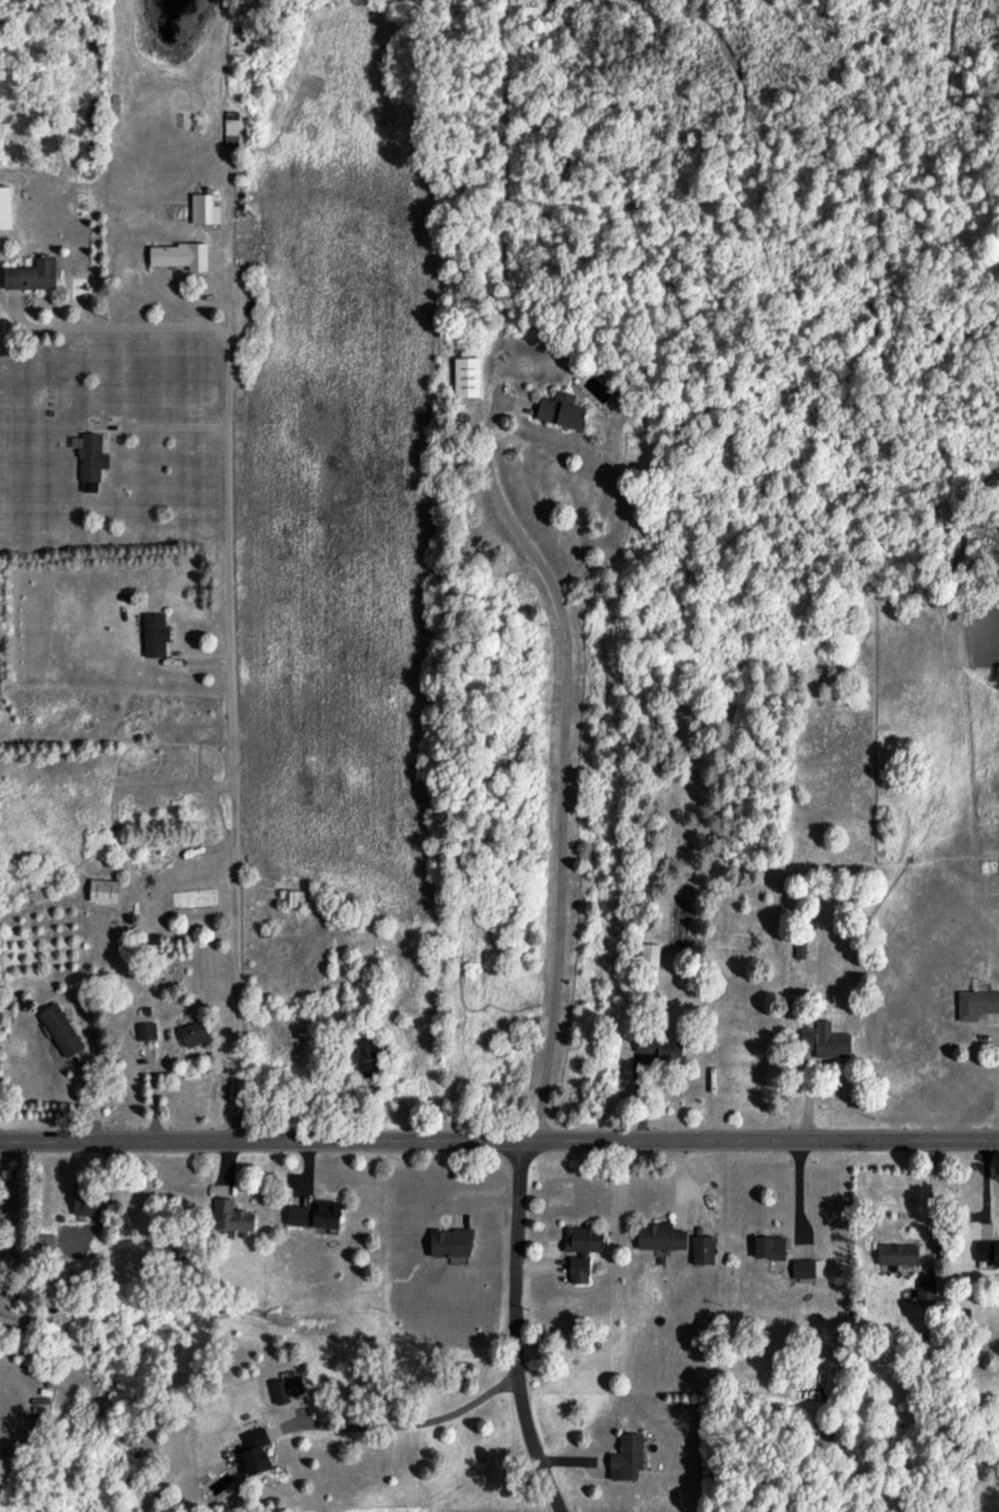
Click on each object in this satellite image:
building: (114, 120)
building: (231, 128)
building: (5, 208)
building: (204, 209)
building: (180, 256)
building: (32, 275)
road: (128, 324)
building: (467, 377)
building: (561, 410)
road: (175, 426)
building: (90, 460)
building: (155, 634)
road: (229, 710)
road: (563, 763)
building: (103, 890)
building: (295, 898)
road: (789, 916)
building: (800, 949)
building: (650, 954)
building: (977, 1003)
building: (61, 1030)
building: (147, 1031)
building: (194, 1033)
building: (825, 1040)
building: (660, 1048)
building: (370, 1056)
road: (998, 1117)
road: (499, 1145)
road: (931, 1201)
building: (86, 1202)
building: (316, 1214)
building: (231, 1216)
building: (660, 1237)
building: (45, 1242)
building: (451, 1244)
building: (769, 1247)
building: (581, 1249)
building: (703, 1250)
building: (988, 1252)
building: (898, 1254)
building: (806, 1269)
building: (926, 1289)
road: (515, 1332)
building: (287, 1388)
road: (405, 1424)
building: (255, 1450)
building: (627, 1457)

